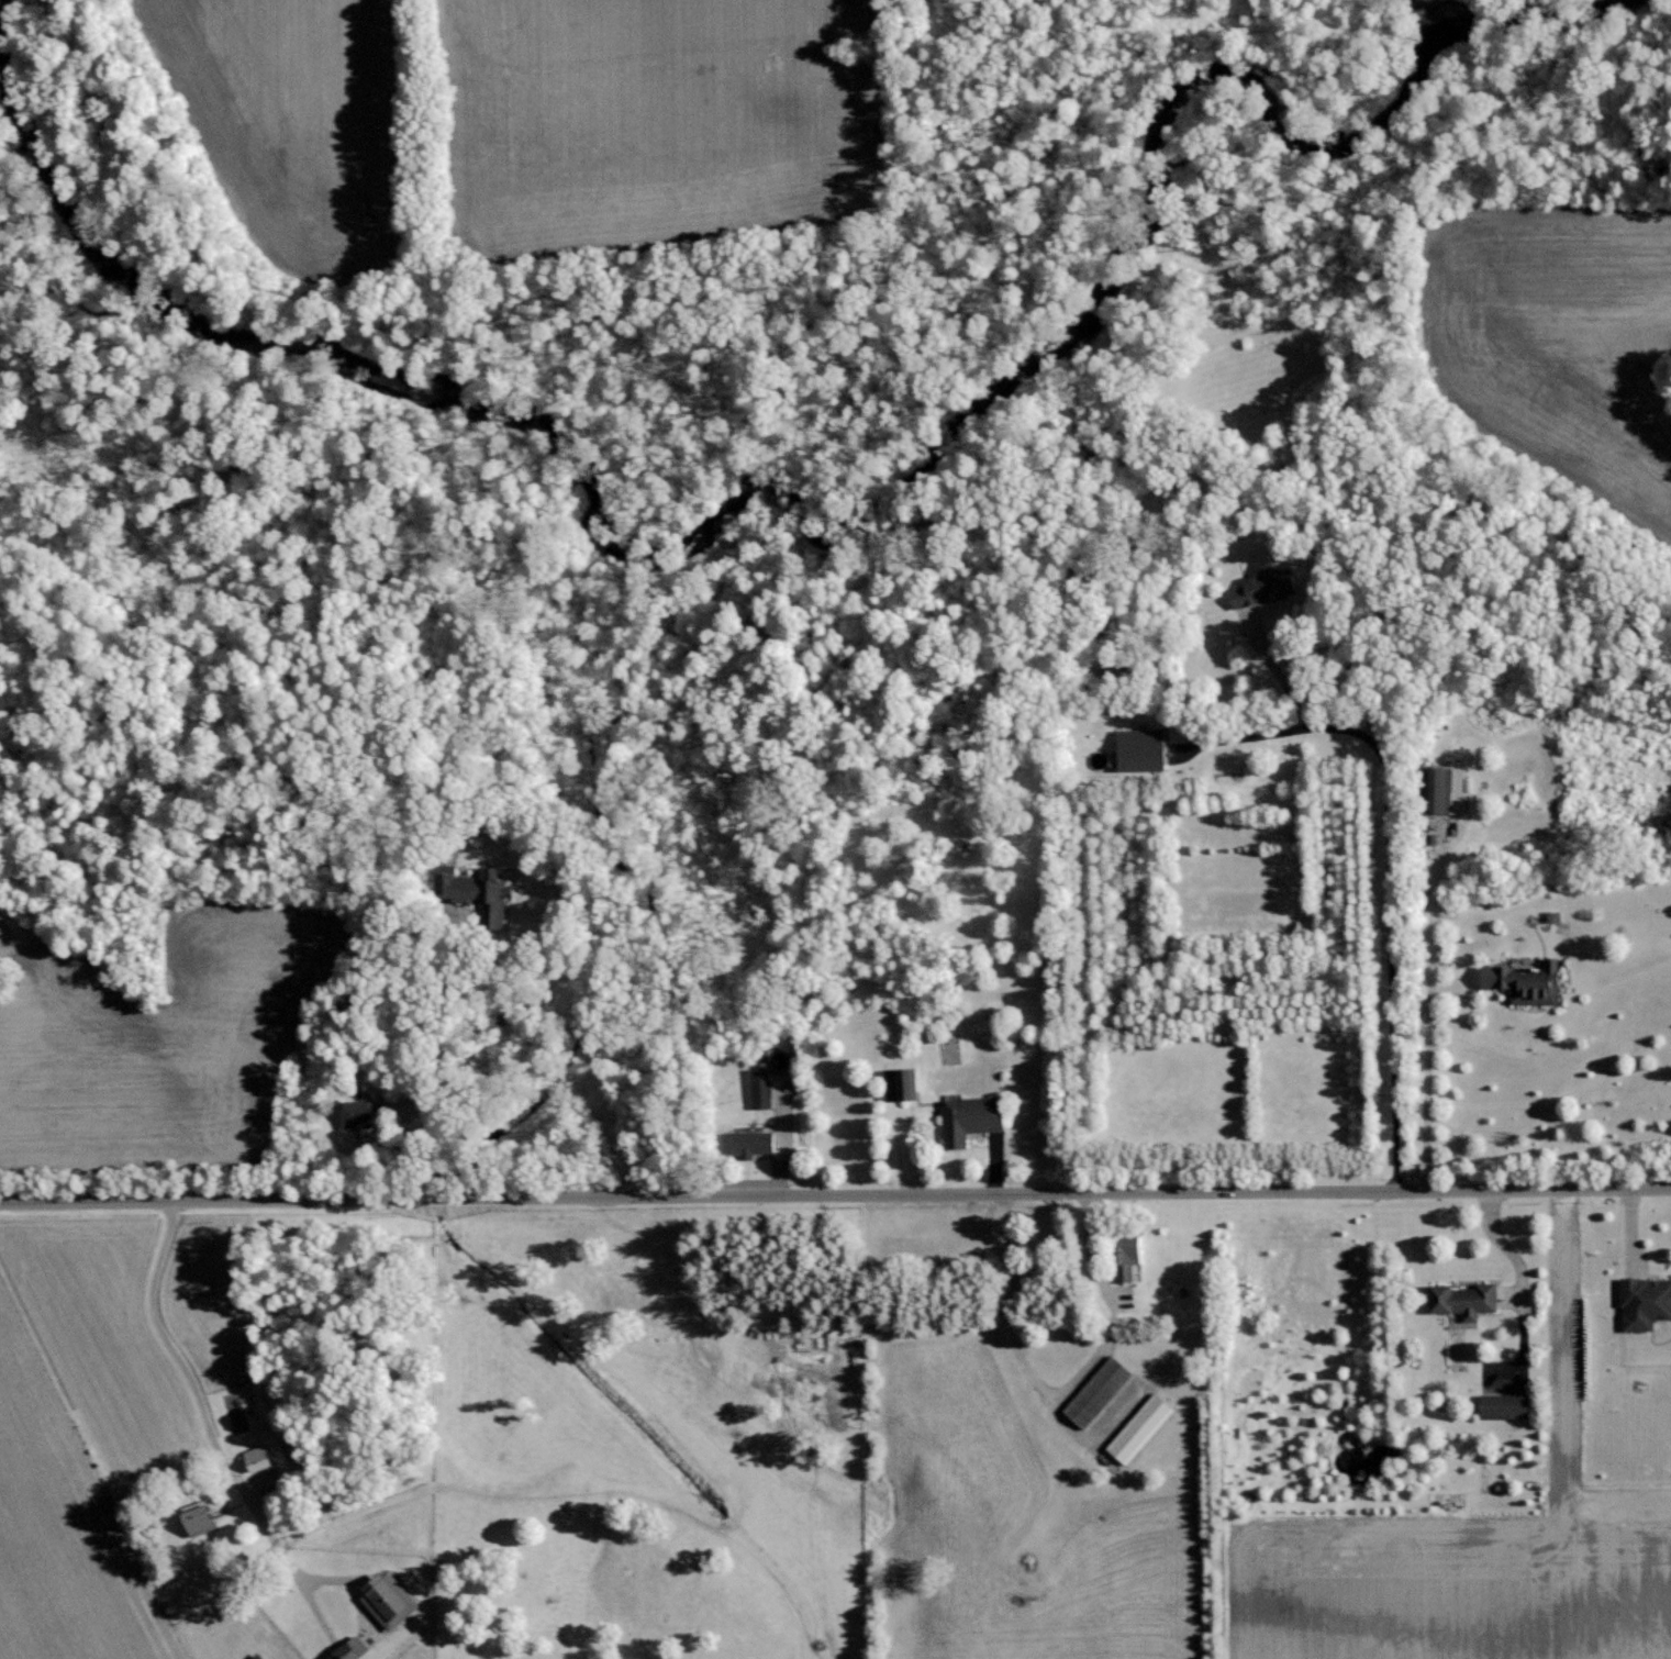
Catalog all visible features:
building: (1270, 587)
building: (1146, 749)
building: (1450, 790)
road: (1388, 876)
building: (480, 893)
building: (1531, 982)
road: (445, 1058)
road: (1421, 1066)
building: (903, 1084)
building: (762, 1088)
building: (361, 1114)
building: (974, 1118)
building: (750, 1144)
road: (835, 1195)
road: (1505, 1247)
building: (1129, 1256)
building: (1468, 1300)
road: (1004, 1303)
building: (1647, 1303)
road: (172, 1352)
building: (1101, 1392)
building: (1511, 1404)
building: (1141, 1428)
building: (260, 1458)
building: (205, 1519)
building: (391, 1601)
building: (355, 1650)
building: (258, 1657)

